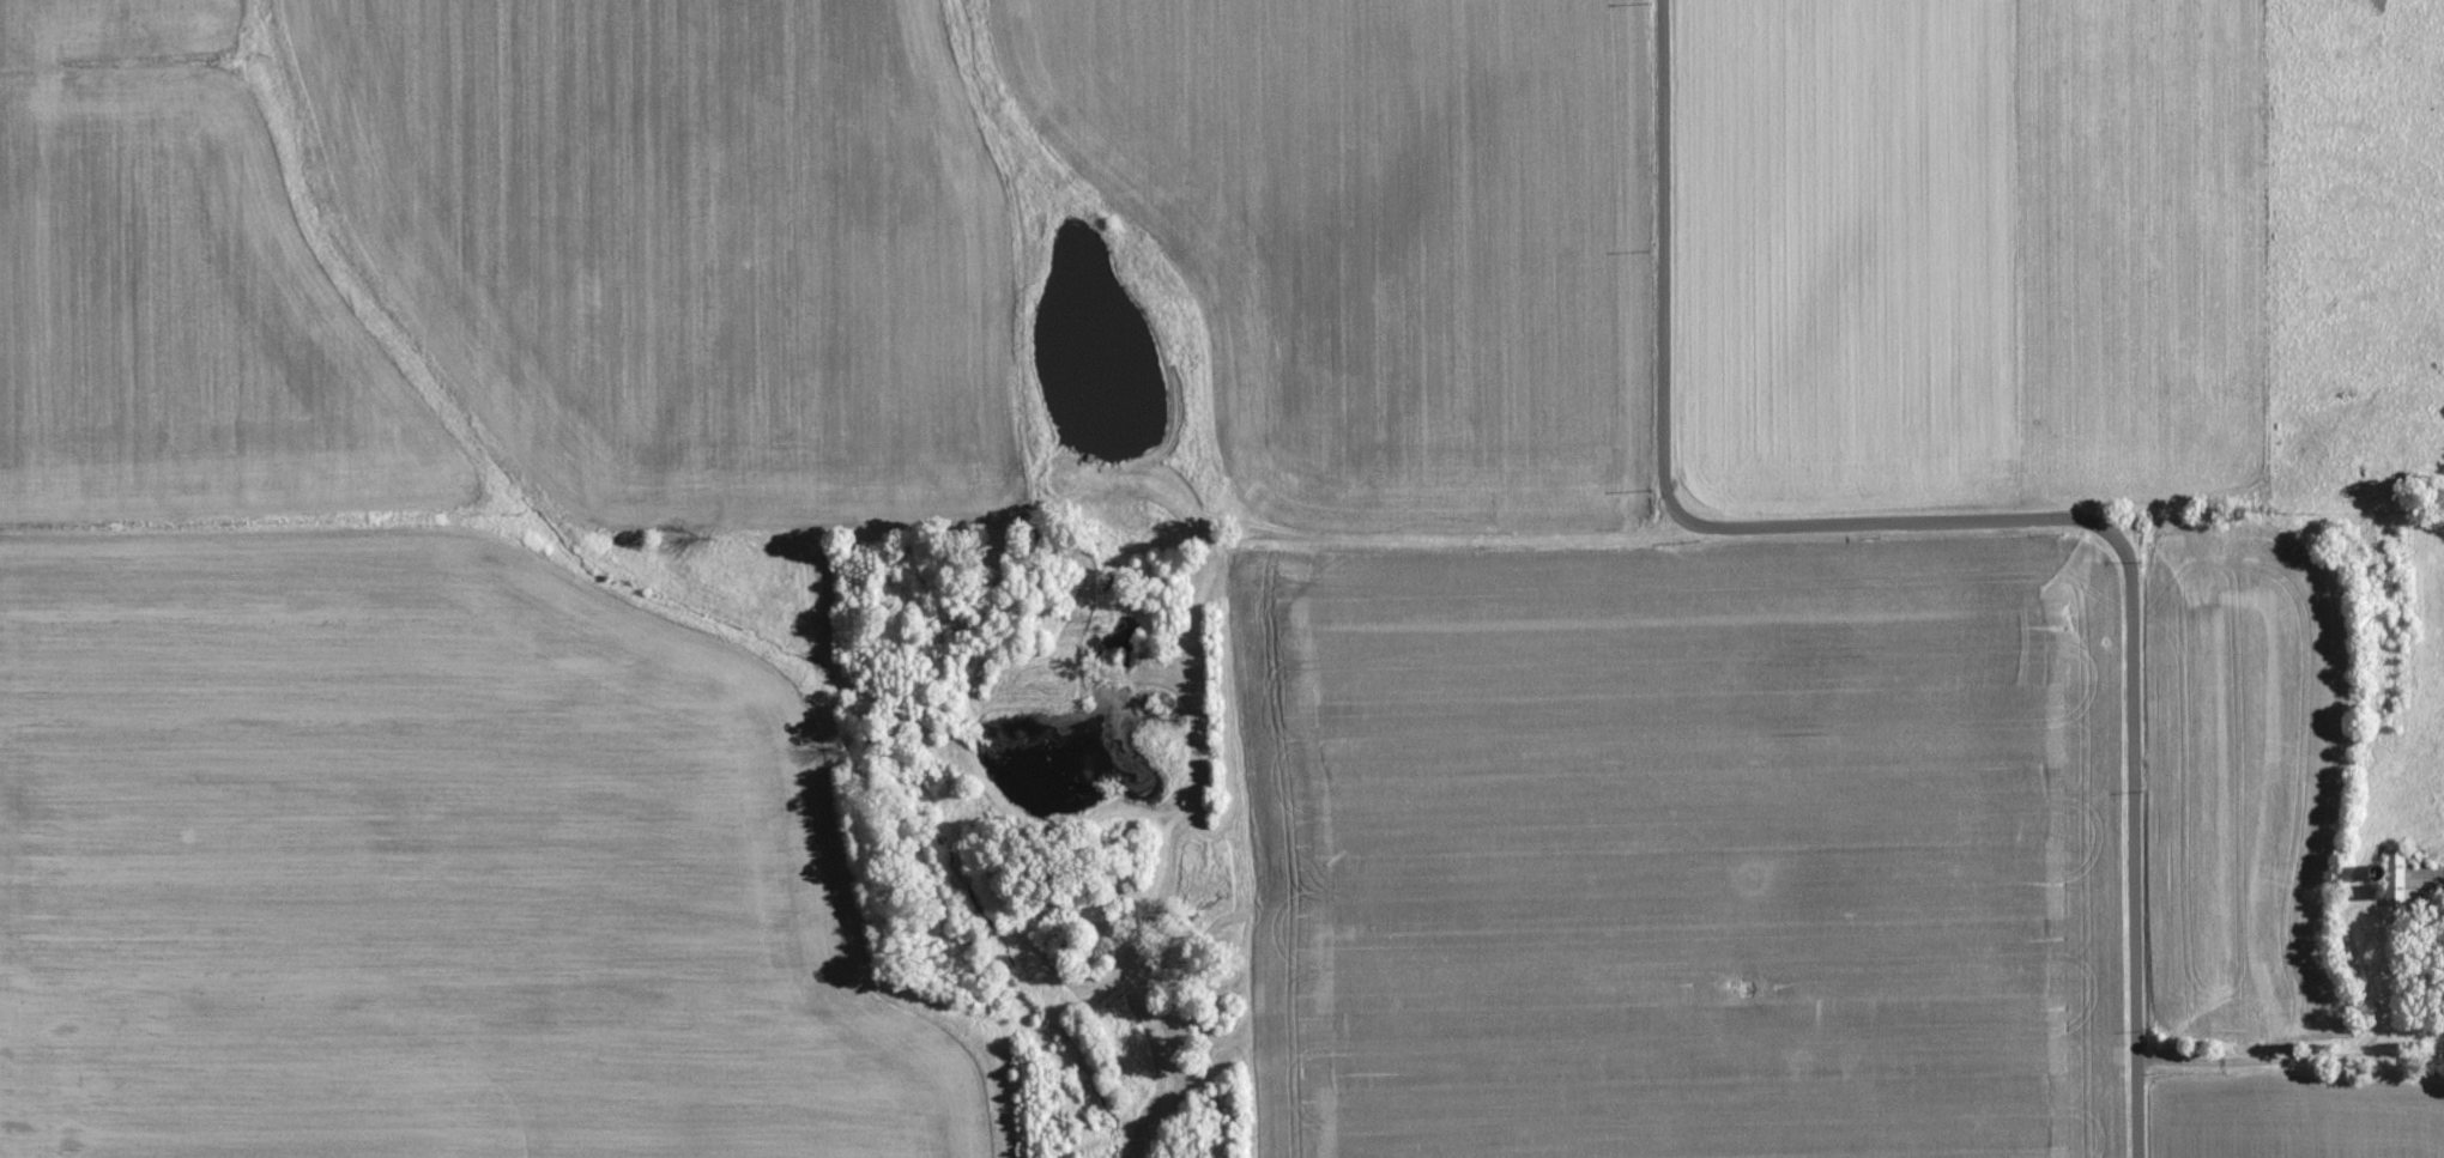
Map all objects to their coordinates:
road: (1946, 519)
road: (2286, 1060)

